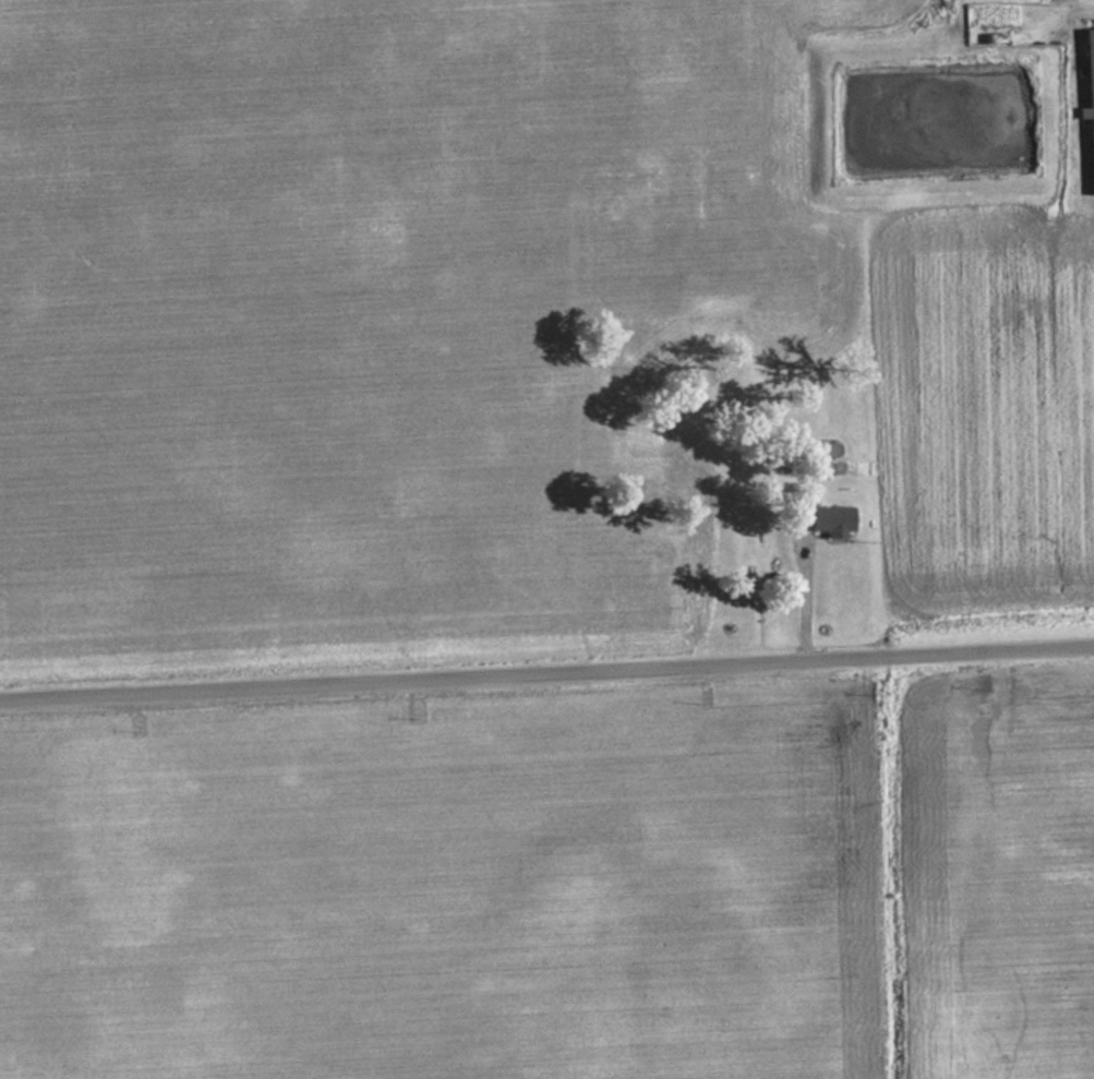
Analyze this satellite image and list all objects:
building: (1090, 97)
building: (827, 518)
road: (546, 678)

